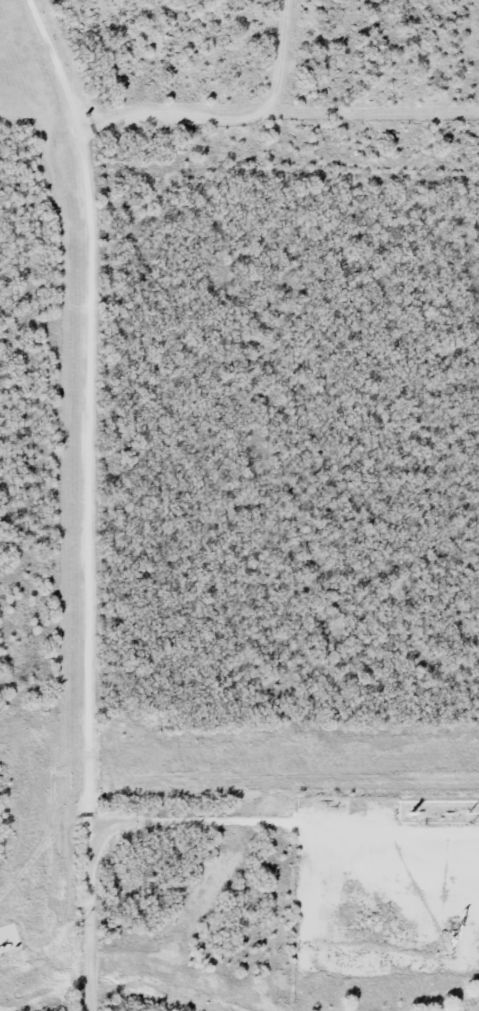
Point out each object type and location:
road: (89, 500)

